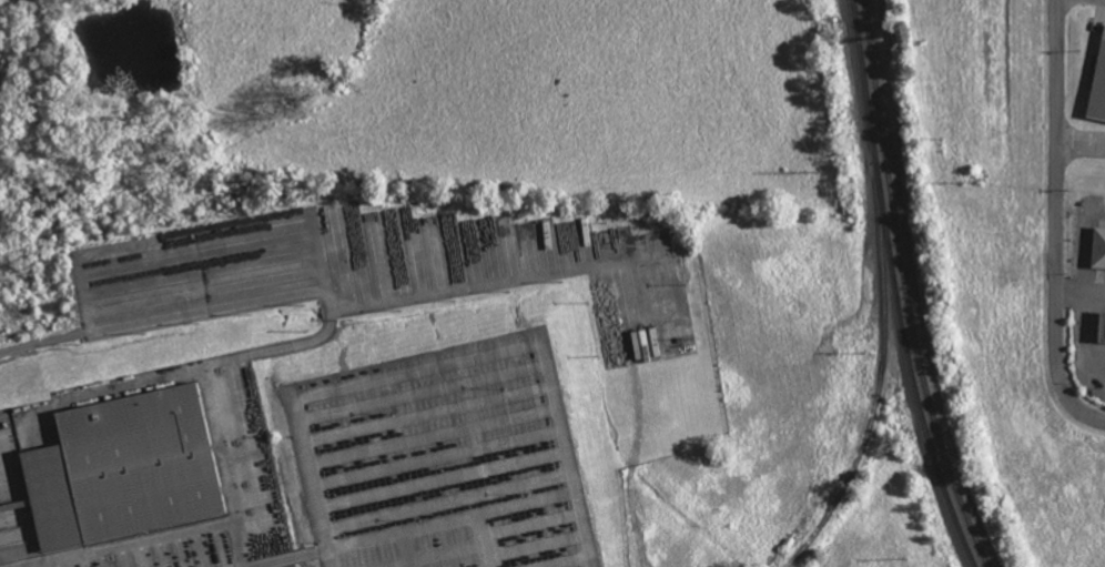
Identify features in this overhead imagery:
building: (1098, 83)
road: (1081, 146)
road: (1056, 222)
building: (1101, 246)
railway: (898, 287)
railway: (905, 288)
building: (1104, 330)
railway: (880, 376)

